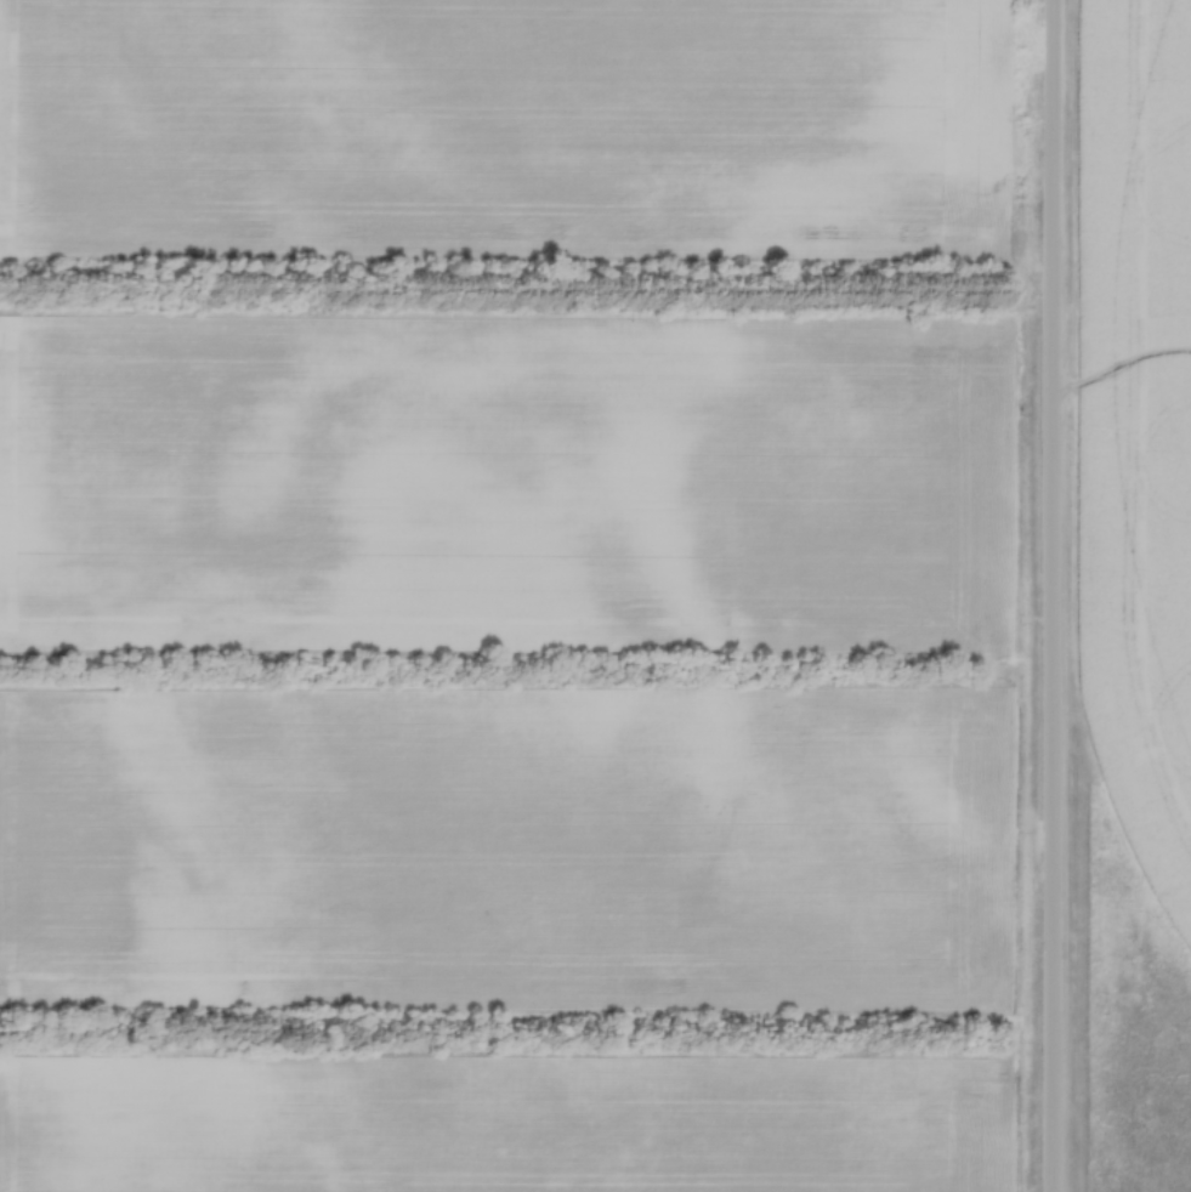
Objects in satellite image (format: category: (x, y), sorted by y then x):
road: (1050, 596)

